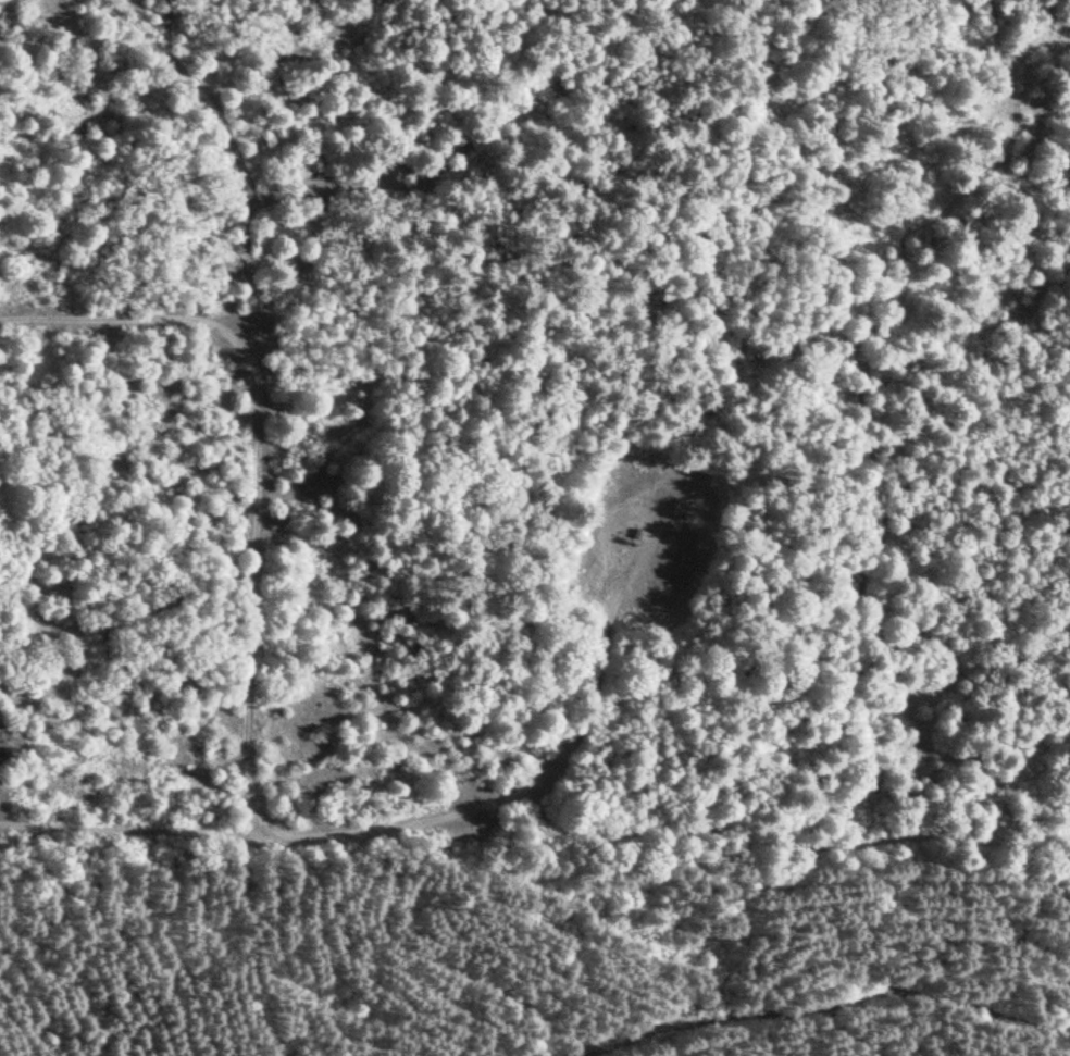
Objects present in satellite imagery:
road: (259, 463)
road: (640, 492)
petroleum well: (625, 538)
road: (376, 831)
road: (819, 1002)

